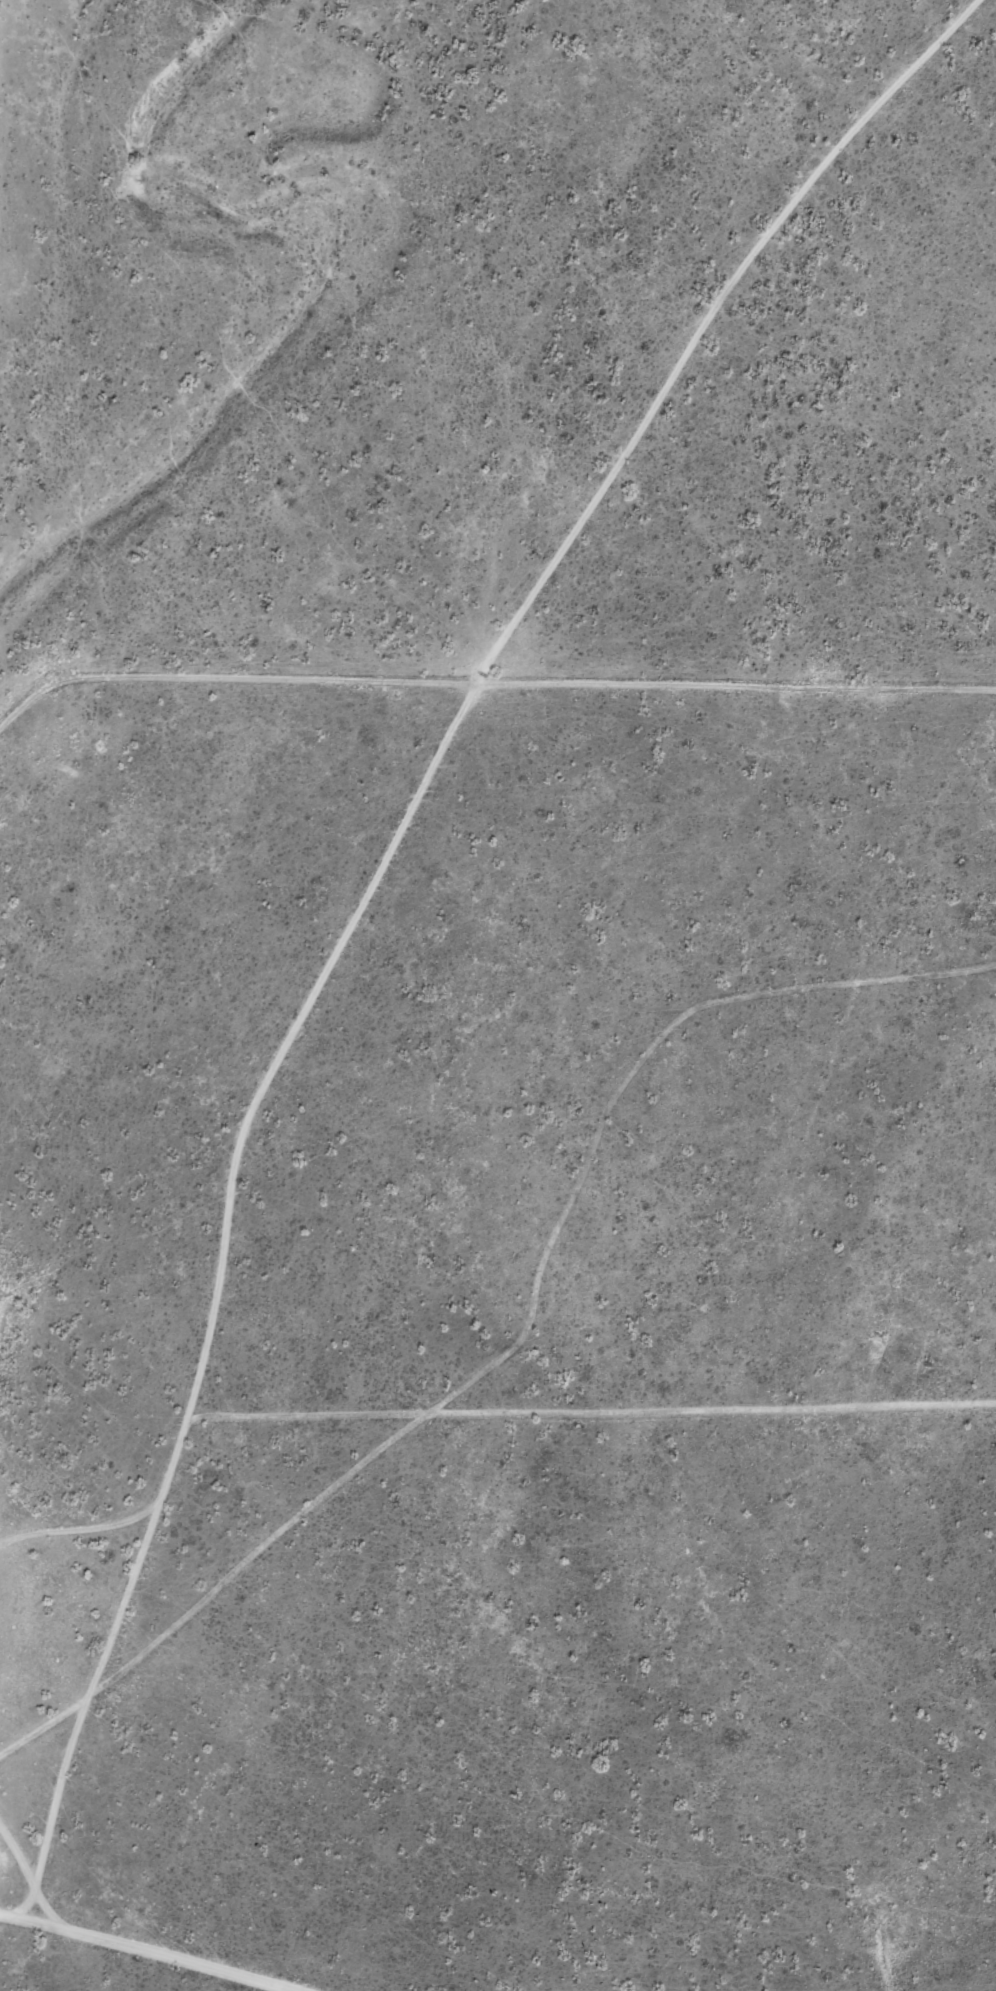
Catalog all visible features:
road: (411, 884)

